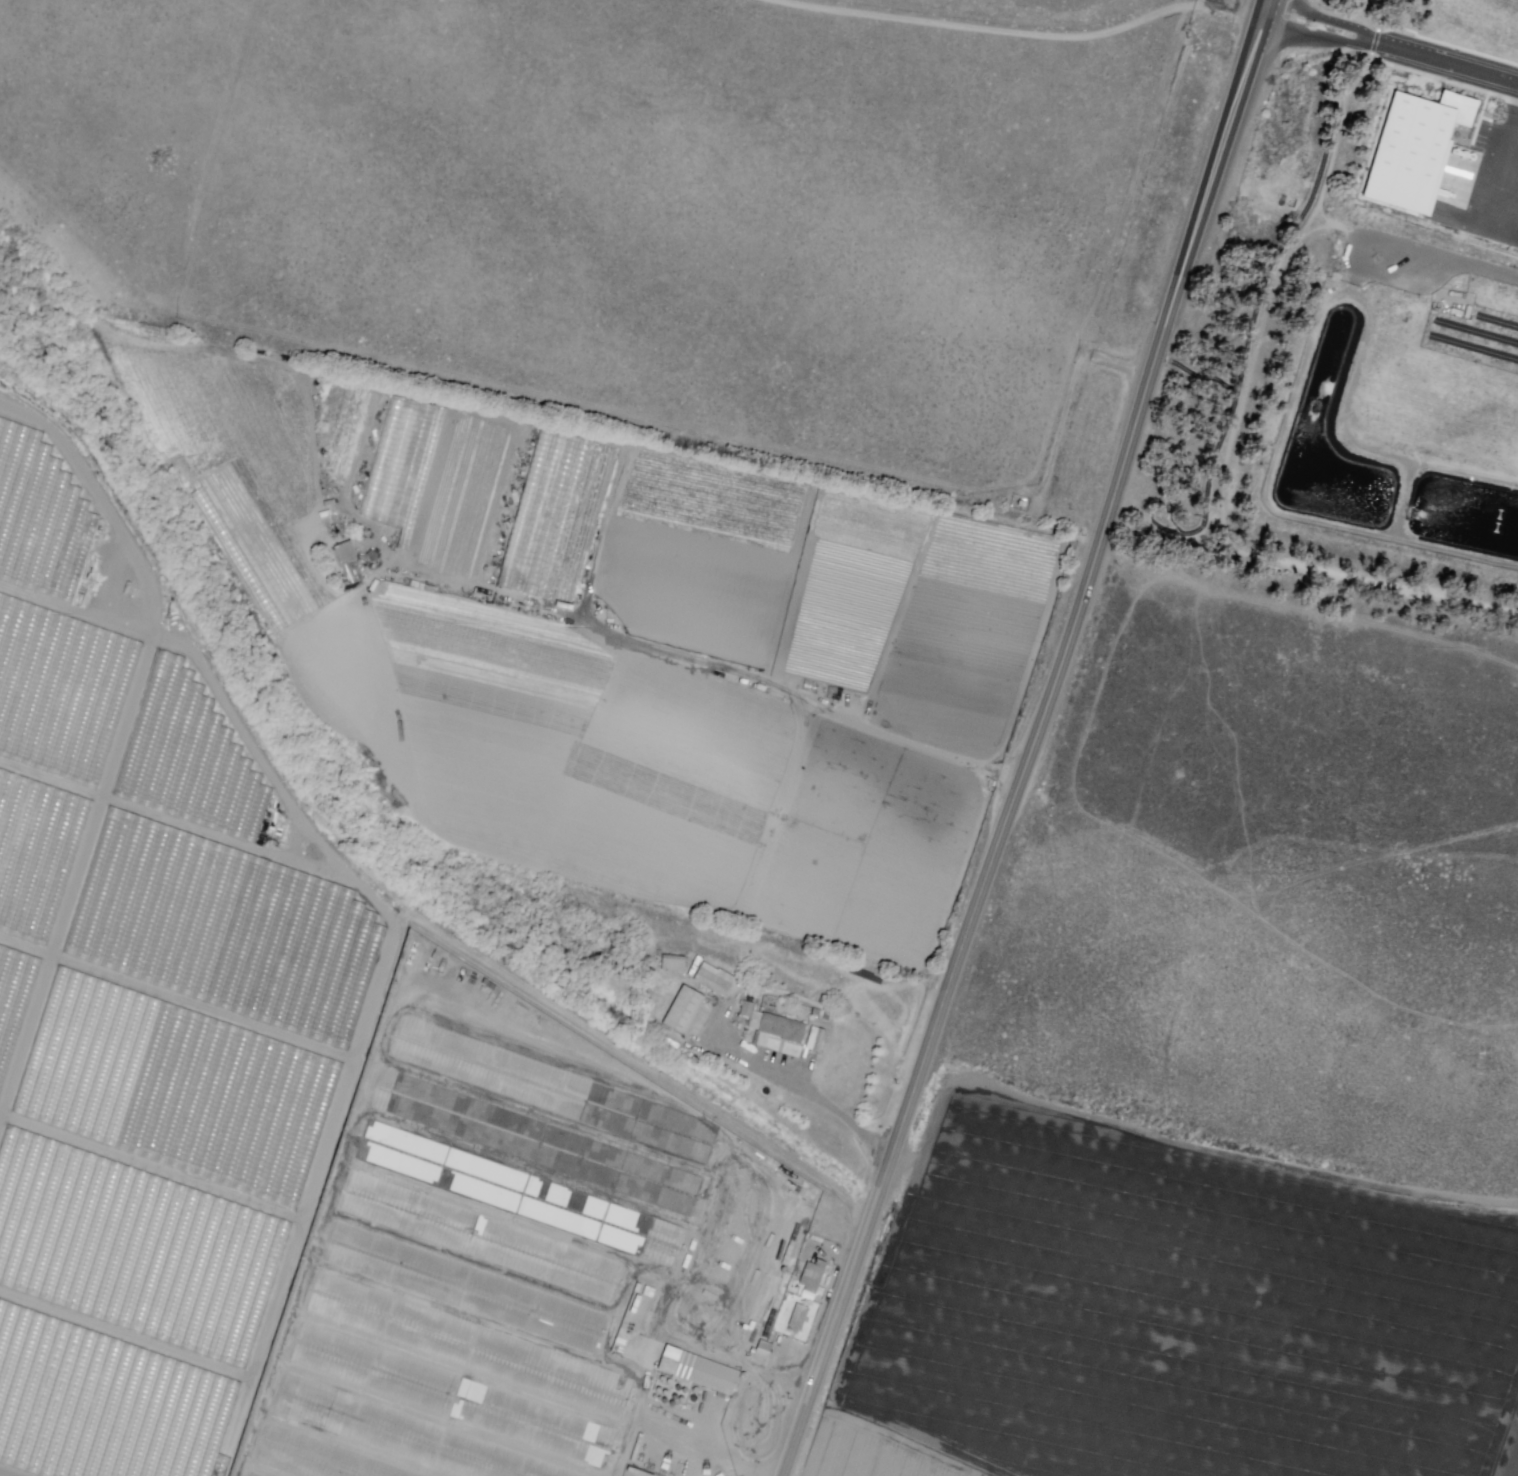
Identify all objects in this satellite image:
road: (1018, 32)
road: (1389, 46)
building: (1410, 152)
road: (1351, 257)
parking lot: (1396, 262)
road: (1491, 268)
road: (1257, 301)
building: (1017, 503)
building: (515, 514)
building: (455, 553)
building: (346, 564)
crop: (804, 587)
crop: (545, 736)
road: (1030, 741)
crop: (151, 780)
crop: (828, 831)
building: (675, 964)
building: (715, 978)
building: (683, 1007)
building: (771, 1024)
building: (817, 1035)
road: (823, 1102)
crop: (138, 1218)
building: (812, 1274)
crop: (1180, 1314)
building: (799, 1317)
building: (697, 1370)
crop: (873, 1455)
crop: (1512, 1460)

